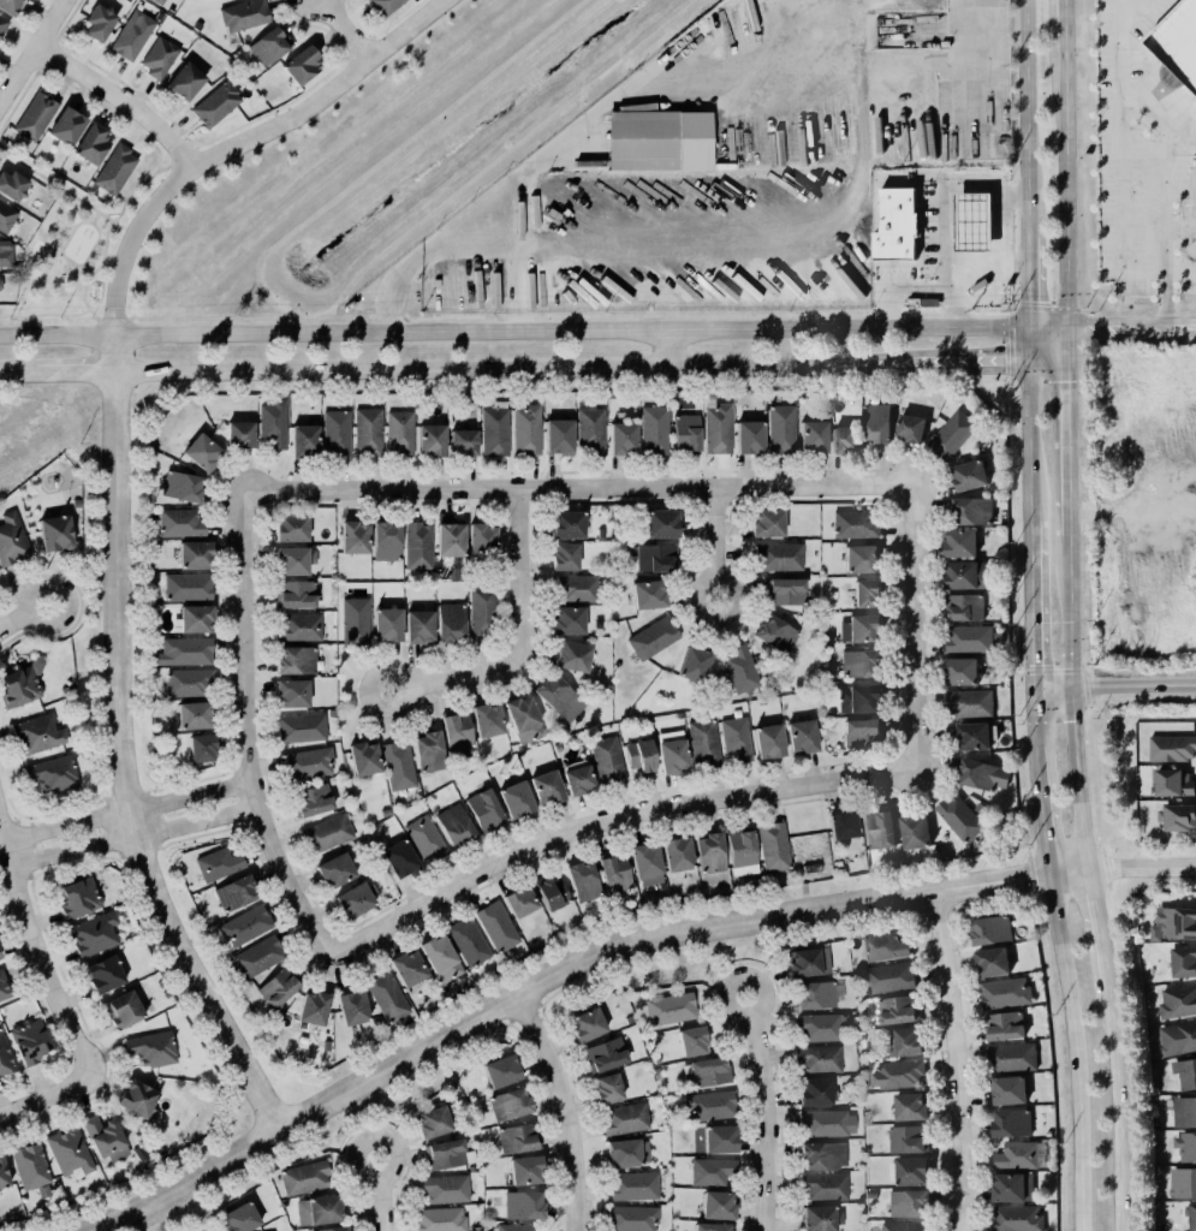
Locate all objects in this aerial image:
building: (156, 1)
building: (383, 5)
road: (1132, 5)
building: (8, 6)
building: (242, 13)
building: (99, 23)
building: (2, 24)
road: (341, 30)
building: (130, 34)
road: (1066, 35)
building: (269, 44)
building: (1177, 46)
road: (35, 54)
building: (157, 57)
building: (301, 65)
building: (184, 81)
road: (645, 89)
road: (120, 102)
building: (215, 102)
road: (1028, 112)
building: (35, 114)
building: (66, 126)
building: (657, 139)
road: (243, 143)
building: (91, 144)
road: (196, 145)
road: (155, 147)
road: (180, 155)
road: (1162, 156)
road: (163, 166)
building: (115, 170)
road: (47, 178)
building: (12, 185)
road: (129, 190)
road: (1067, 200)
road: (942, 201)
road: (1121, 203)
road: (105, 215)
building: (6, 216)
road: (94, 216)
building: (974, 222)
building: (894, 225)
road: (1179, 226)
road: (996, 231)
road: (69, 236)
park: (75, 240)
road: (90, 248)
road: (512, 255)
building: (5, 256)
road: (67, 263)
road: (97, 264)
road: (1179, 270)
road: (1033, 276)
building: (0, 283)
road: (959, 287)
road: (904, 291)
road: (43, 313)
road: (93, 314)
road: (309, 317)
road: (203, 319)
road: (1180, 329)
traffic signals: (1034, 331)
road: (1051, 331)
traffic signals: (1069, 331)
road: (1117, 331)
road: (516, 332)
road: (1034, 347)
road: (1051, 347)
road: (670, 349)
road: (933, 364)
traffic signals: (1034, 364)
road: (474, 369)
road: (18, 374)
road: (77, 374)
road: (1069, 404)
building: (273, 422)
building: (876, 422)
building: (495, 428)
building: (526, 428)
building: (718, 428)
building: (910, 428)
building: (399, 429)
building: (654, 429)
building: (780, 429)
building: (590, 430)
building: (368, 432)
building: (334, 433)
building: (686, 433)
building: (239, 434)
building: (950, 435)
building: (558, 436)
building: (749, 436)
building: (813, 436)
building: (621, 438)
building: (432, 439)
building: (304, 440)
building: (844, 440)
road: (1034, 441)
building: (462, 442)
building: (200, 451)
building: (970, 475)
building: (183, 486)
road: (579, 487)
road: (1070, 505)
road: (1132, 506)
building: (972, 510)
building: (182, 522)
building: (660, 523)
building: (768, 523)
building: (566, 524)
building: (855, 524)
building: (291, 527)
building: (55, 533)
building: (352, 537)
building: (11, 539)
building: (448, 540)
building: (386, 541)
building: (480, 541)
road: (714, 541)
building: (959, 543)
building: (416, 545)
building: (195, 554)
building: (778, 555)
building: (565, 557)
building: (655, 558)
building: (859, 558)
building: (291, 560)
road: (1035, 571)
building: (966, 576)
building: (188, 587)
building: (573, 588)
building: (784, 591)
building: (294, 593)
building: (865, 593)
building: (649, 594)
building: (964, 607)
building: (481, 609)
road: (22, 617)
building: (196, 618)
building: (567, 620)
building: (355, 622)
building: (450, 622)
building: (387, 624)
building: (298, 625)
building: (418, 626)
road: (912, 626)
building: (861, 629)
building: (776, 634)
building: (651, 636)
road: (520, 638)
building: (968, 638)
building: (185, 650)
building: (570, 654)
road: (1035, 655)
building: (294, 660)
building: (692, 664)
building: (862, 664)
building: (739, 668)
building: (960, 671)
building: (186, 680)
building: (16, 683)
road: (1115, 685)
building: (292, 692)
building: (558, 696)
building: (858, 698)
road: (1073, 701)
building: (969, 703)
building: (194, 715)
road: (1037, 715)
building: (523, 719)
building: (486, 720)
building: (302, 727)
road: (249, 729)
building: (458, 732)
building: (862, 732)
building: (36, 733)
building: (801, 736)
building: (972, 736)
building: (737, 737)
building: (768, 741)
building: (702, 743)
building: (202, 748)
building: (1172, 748)
road: (123, 749)
building: (429, 751)
building: (639, 755)
building: (673, 756)
building: (363, 757)
building: (606, 760)
road: (1041, 762)
building: (308, 763)
building: (398, 765)
building: (53, 774)
building: (983, 774)
building: (577, 779)
building: (1173, 783)
building: (546, 786)
building: (310, 799)
building: (516, 799)
building: (483, 808)
road: (129, 809)
building: (958, 816)
building: (1179, 817)
road: (608, 819)
building: (454, 825)
building: (843, 825)
road: (1048, 827)
building: (880, 829)
building: (914, 832)
building: (327, 833)
road: (139, 838)
building: (424, 838)
building: (773, 846)
building: (742, 851)
building: (710, 852)
building: (677, 854)
building: (398, 857)
building: (218, 863)
building: (645, 864)
building: (335, 870)
road: (1142, 872)
building: (615, 873)
building: (582, 880)
building: (549, 887)
building: (233, 893)
building: (79, 897)
building: (353, 900)
building: (518, 900)
road: (1093, 909)
building: (1173, 923)
building: (243, 924)
building: (498, 926)
building: (989, 930)
building: (91, 933)
building: (469, 941)
road: (41, 944)
building: (882, 946)
building: (256, 956)
building: (441, 958)
building: (803, 962)
building: (992, 962)
building: (1183, 962)
building: (409, 968)
building: (103, 974)
building: (888, 976)
road: (563, 979)
building: (4, 987)
building: (278, 987)
building: (1004, 993)
building: (815, 994)
building: (386, 995)
building: (1178, 1001)
building: (314, 1007)
building: (351, 1007)
building: (668, 1007)
building: (121, 1010)
building: (897, 1010)
building: (585, 1024)
building: (1004, 1025)
building: (820, 1027)
road: (1072, 1036)
building: (1178, 1039)
building: (30, 1041)
building: (691, 1041)
building: (903, 1041)
building: (151, 1048)
building: (605, 1054)
building: (1010, 1057)
building: (5, 1058)
building: (819, 1058)
road: (956, 1060)
building: (500, 1071)
building: (706, 1072)
building: (1185, 1072)
building: (898, 1075)
road: (1114, 1075)
building: (607, 1088)
building: (1008, 1090)
building: (814, 1092)
building: (138, 1099)
road: (44, 1100)
building: (510, 1104)
building: (708, 1105)
building: (909, 1107)
road: (567, 1108)
road: (764, 1112)
building: (1184, 1112)
building: (623, 1118)
building: (433, 1122)
building: (1010, 1122)
building: (827, 1123)
building: (105, 1137)
building: (518, 1137)
building: (718, 1138)
building: (905, 1138)
building: (1185, 1147)
building: (70, 1150)
building: (629, 1153)
building: (446, 1154)
building: (823, 1154)
building: (1016, 1156)
building: (30, 1165)
building: (524, 1170)
building: (912, 1171)
building: (712, 1172)
building: (2, 1173)
building: (303, 1177)
building: (1183, 1183)
building: (632, 1185)
building: (823, 1185)
building: (446, 1188)
building: (1011, 1188)
road: (380, 1195)
building: (906, 1203)
building: (523, 1205)
building: (718, 1205)
building: (317, 1209)
building: (238, 1213)
road: (1081, 1215)
road: (1120, 1215)
building: (436, 1217)
building: (1192, 1217)
building: (631, 1218)
building: (819, 1218)
building: (1016, 1218)
building: (709, 1224)
building: (513, 1226)
building: (905, 1226)
building: (331, 1229)

